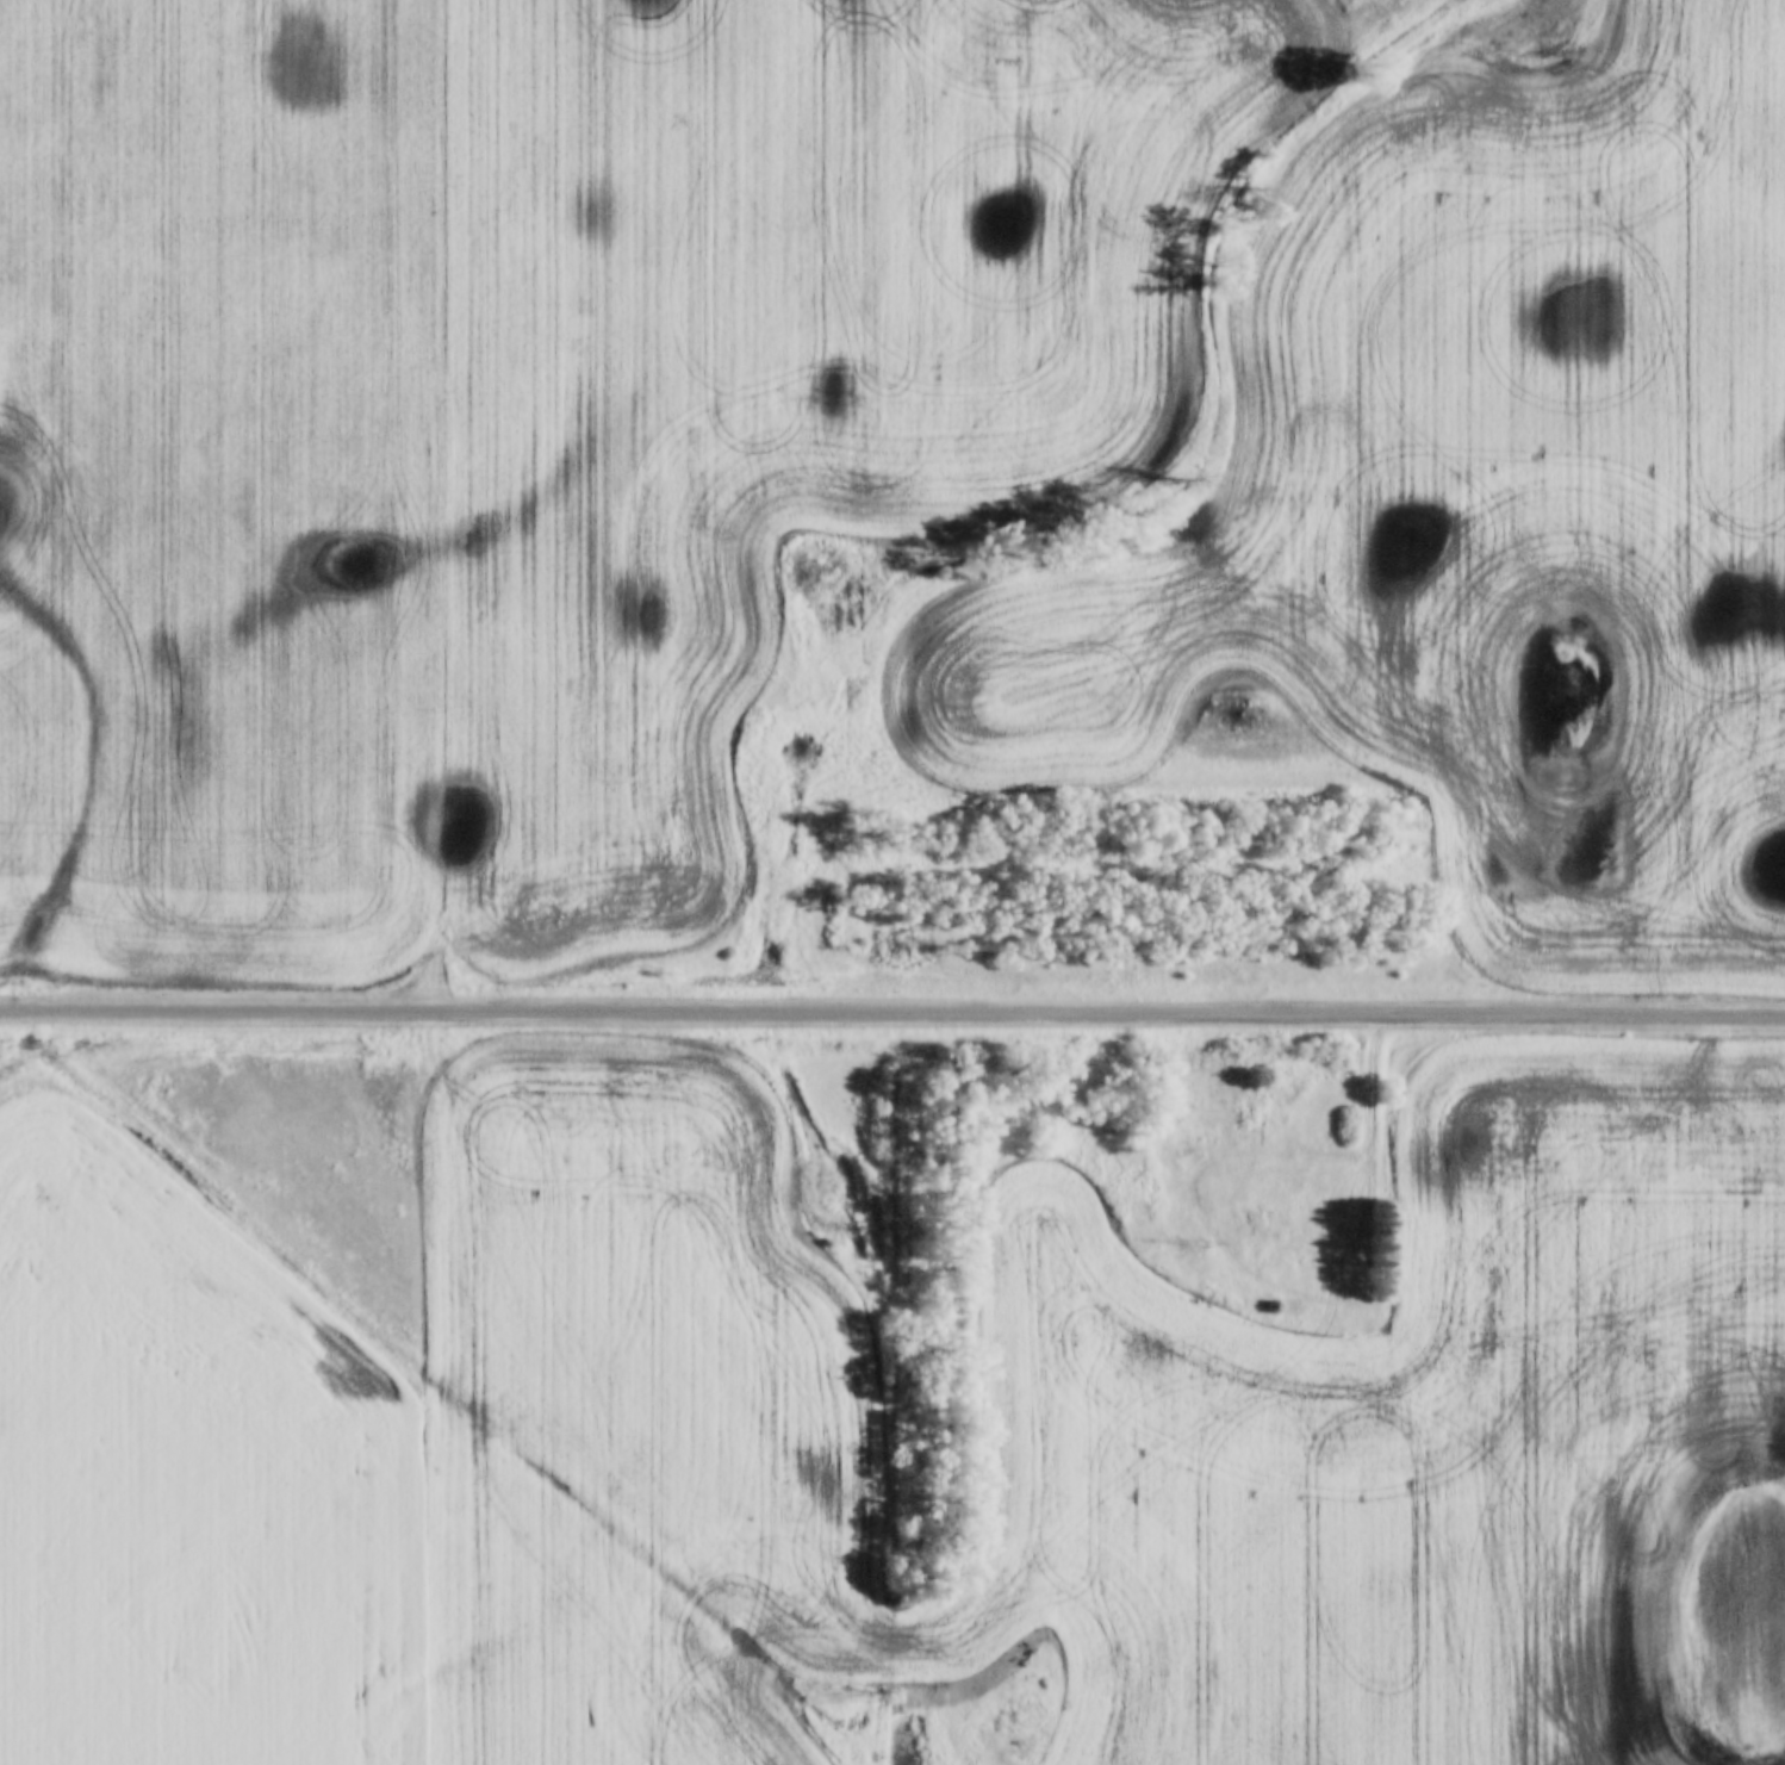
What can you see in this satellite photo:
road: (893, 1013)
road: (1295, 1164)

